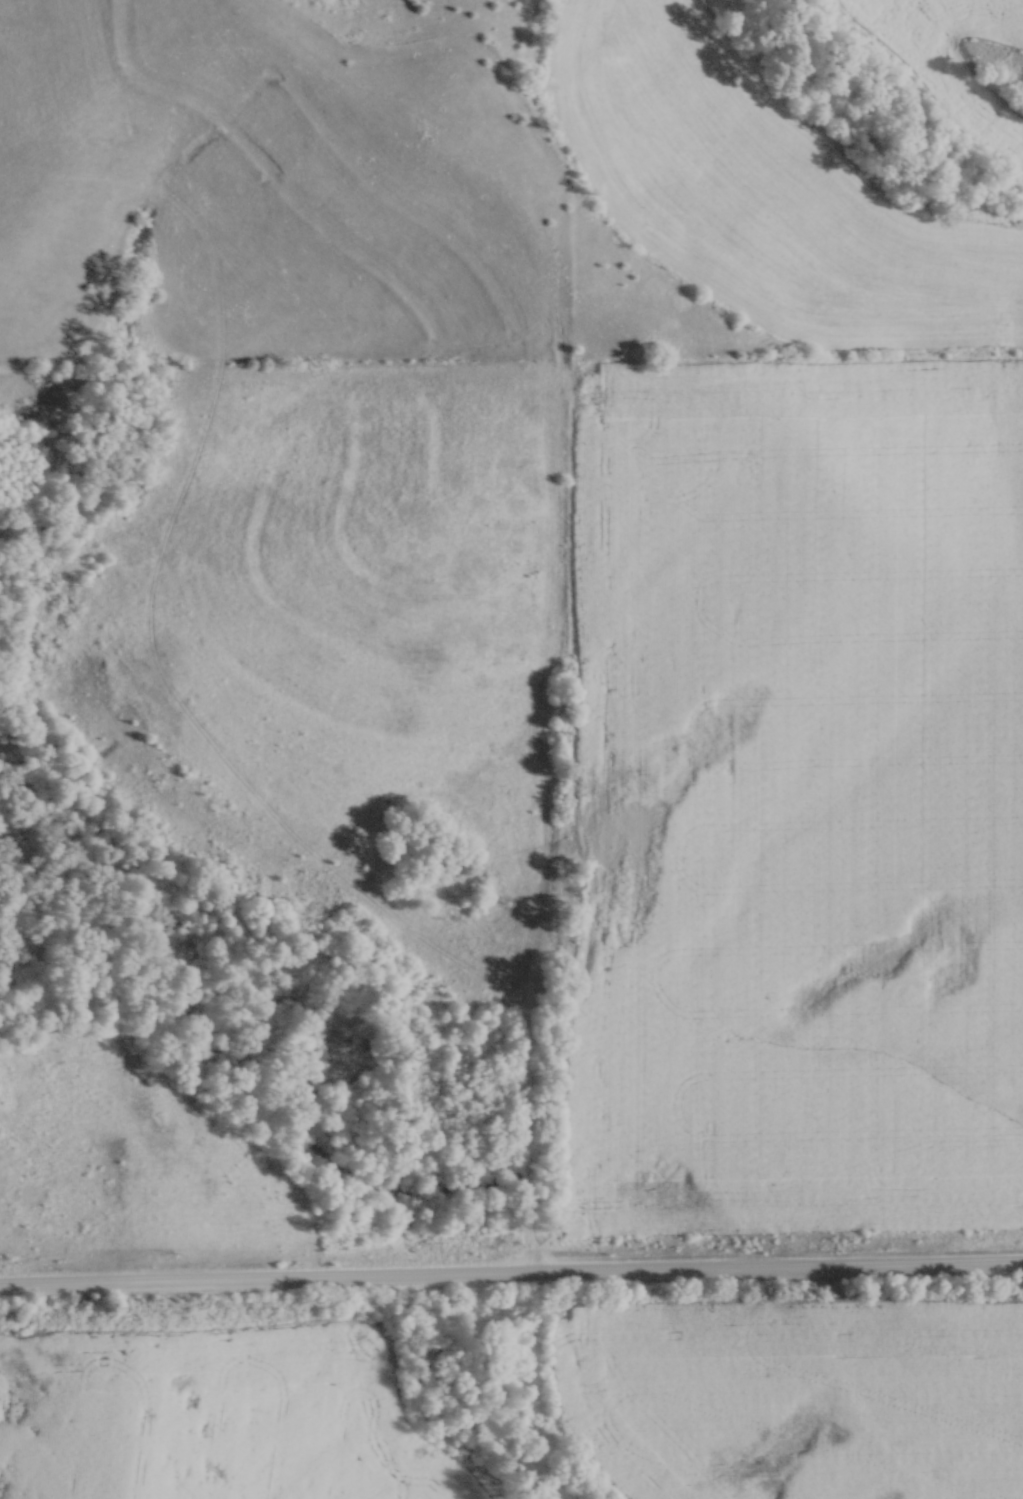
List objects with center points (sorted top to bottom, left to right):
road: (511, 1275)

